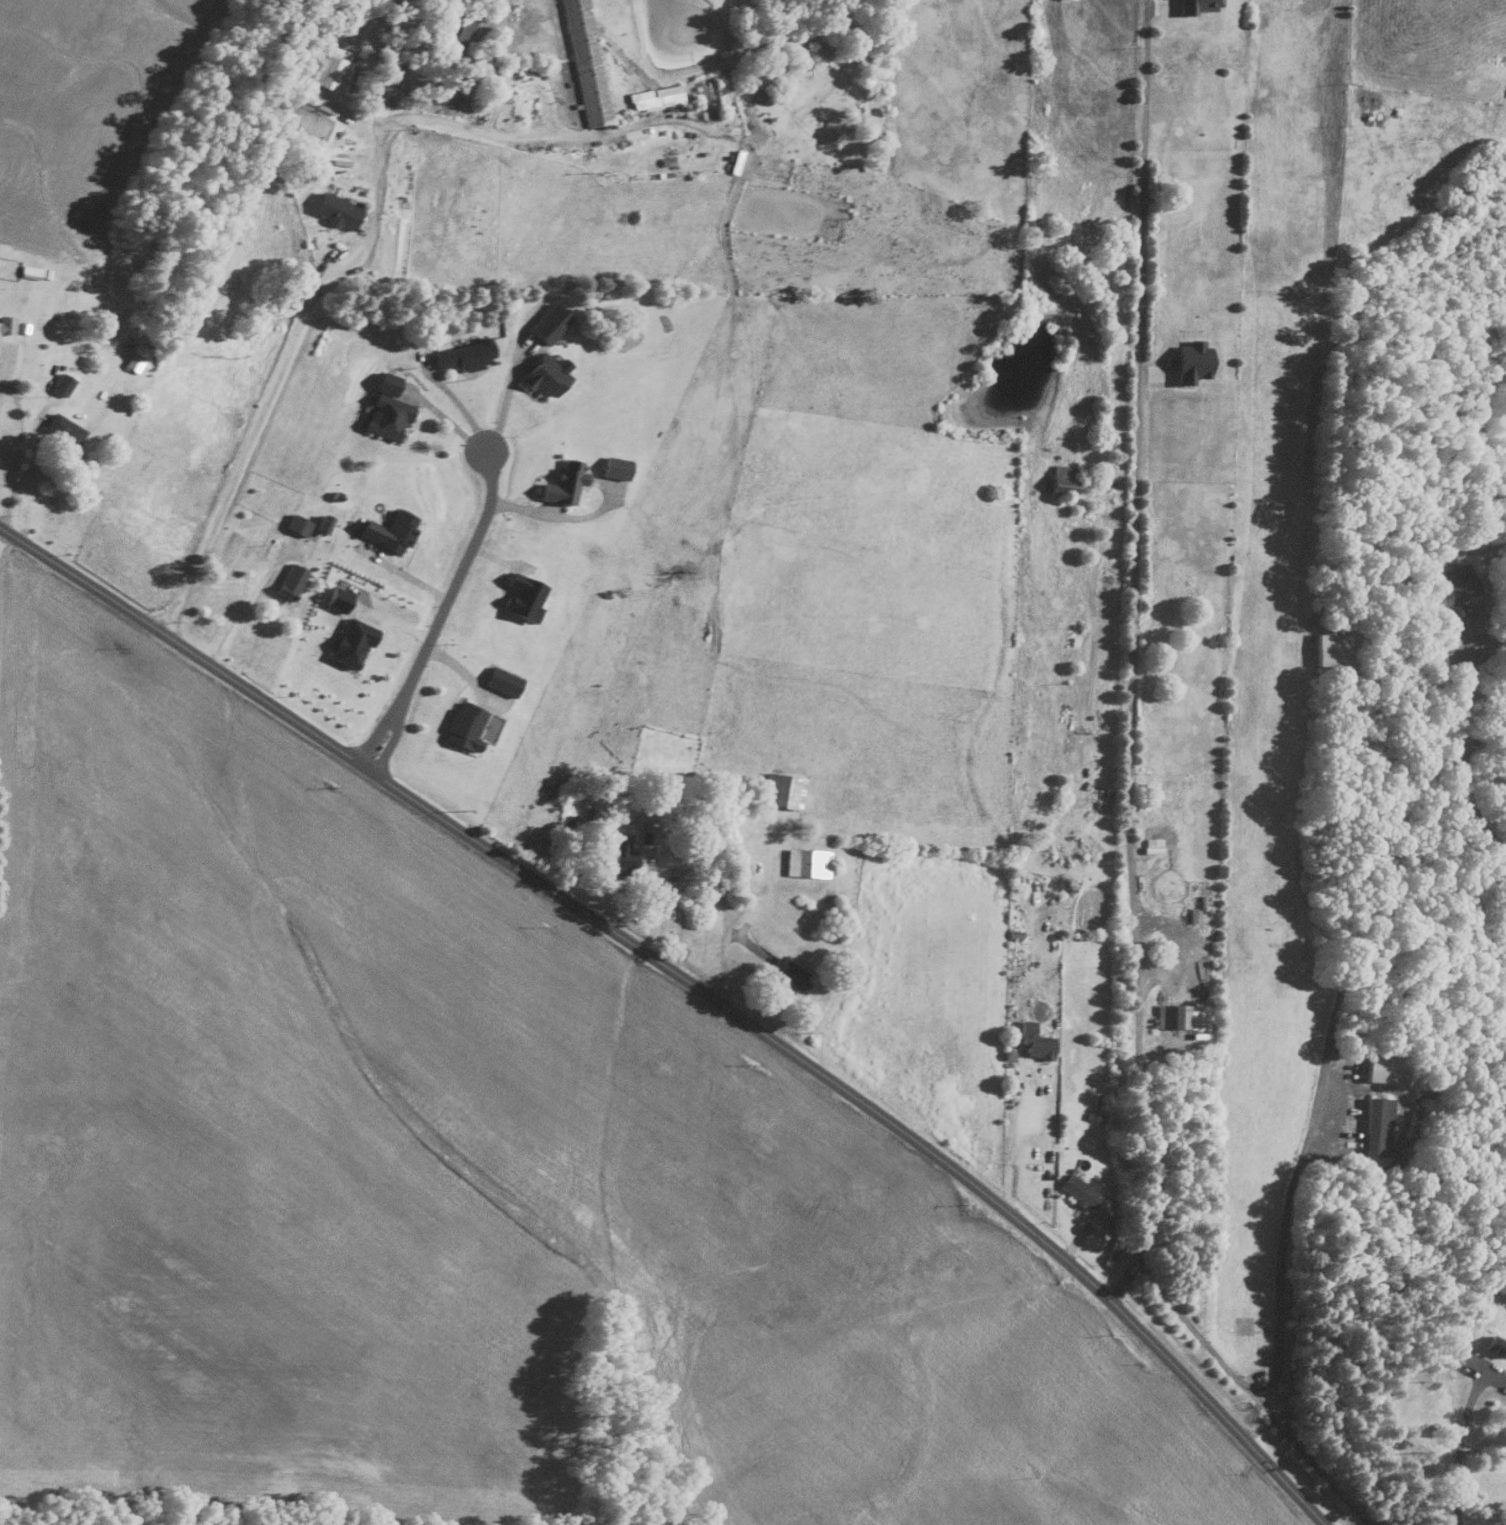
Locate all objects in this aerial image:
building: (1194, 5)
building: (465, 25)
building: (584, 61)
building: (331, 67)
building: (654, 95)
building: (335, 209)
road: (357, 248)
building: (29, 271)
building: (547, 322)
building: (5, 326)
building: (461, 354)
building: (135, 355)
road: (2, 367)
building: (543, 375)
building: (385, 382)
building: (60, 383)
building: (385, 415)
building: (61, 428)
building: (613, 466)
building: (1061, 479)
road: (19, 480)
building: (561, 482)
building: (322, 523)
building: (296, 524)
building: (389, 530)
road: (402, 574)
building: (289, 581)
building: (1454, 584)
building: (336, 597)
building: (521, 597)
road: (243, 607)
road: (440, 611)
road: (1444, 615)
building: (350, 641)
building: (1329, 648)
road: (1131, 656)
airport runway: (1269, 662)
building: (500, 680)
road: (1485, 700)
building: (462, 725)
road: (1481, 733)
building: (780, 790)
road: (1465, 795)
building: (644, 831)
building: (620, 851)
building: (805, 862)
building: (787, 972)
road: (694, 986)
building: (1179, 1015)
building: (1033, 1041)
building: (1383, 1068)
road: (1319, 1093)
road: (1018, 1111)
building: (1377, 1125)
building: (1083, 1196)
road: (1461, 1447)

